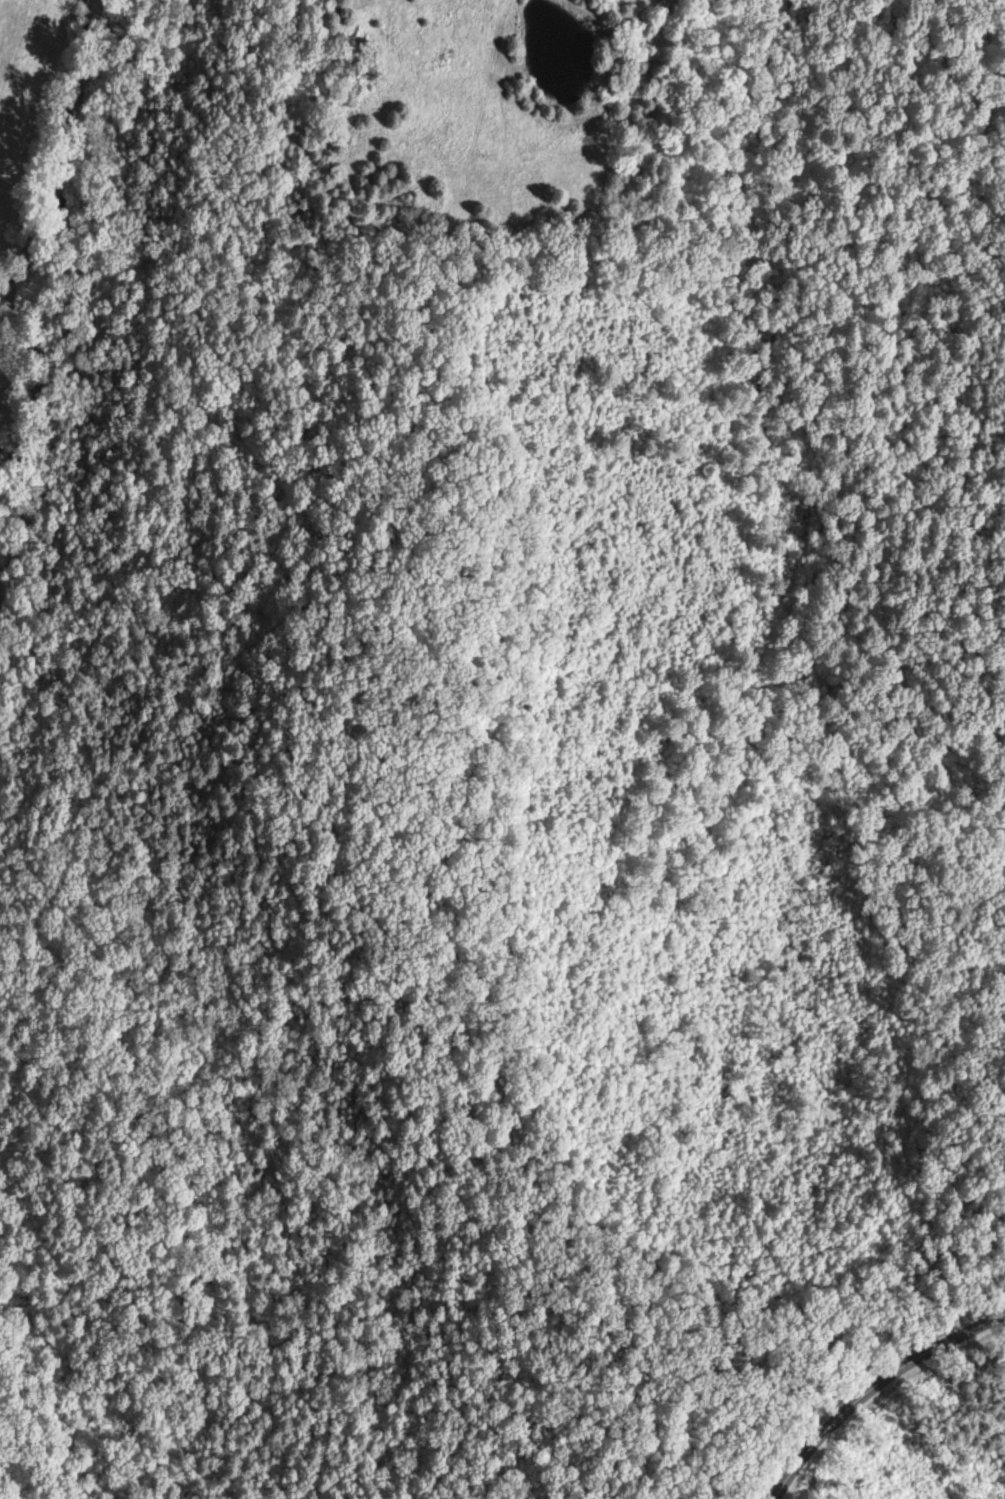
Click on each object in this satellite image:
road: (878, 1387)

